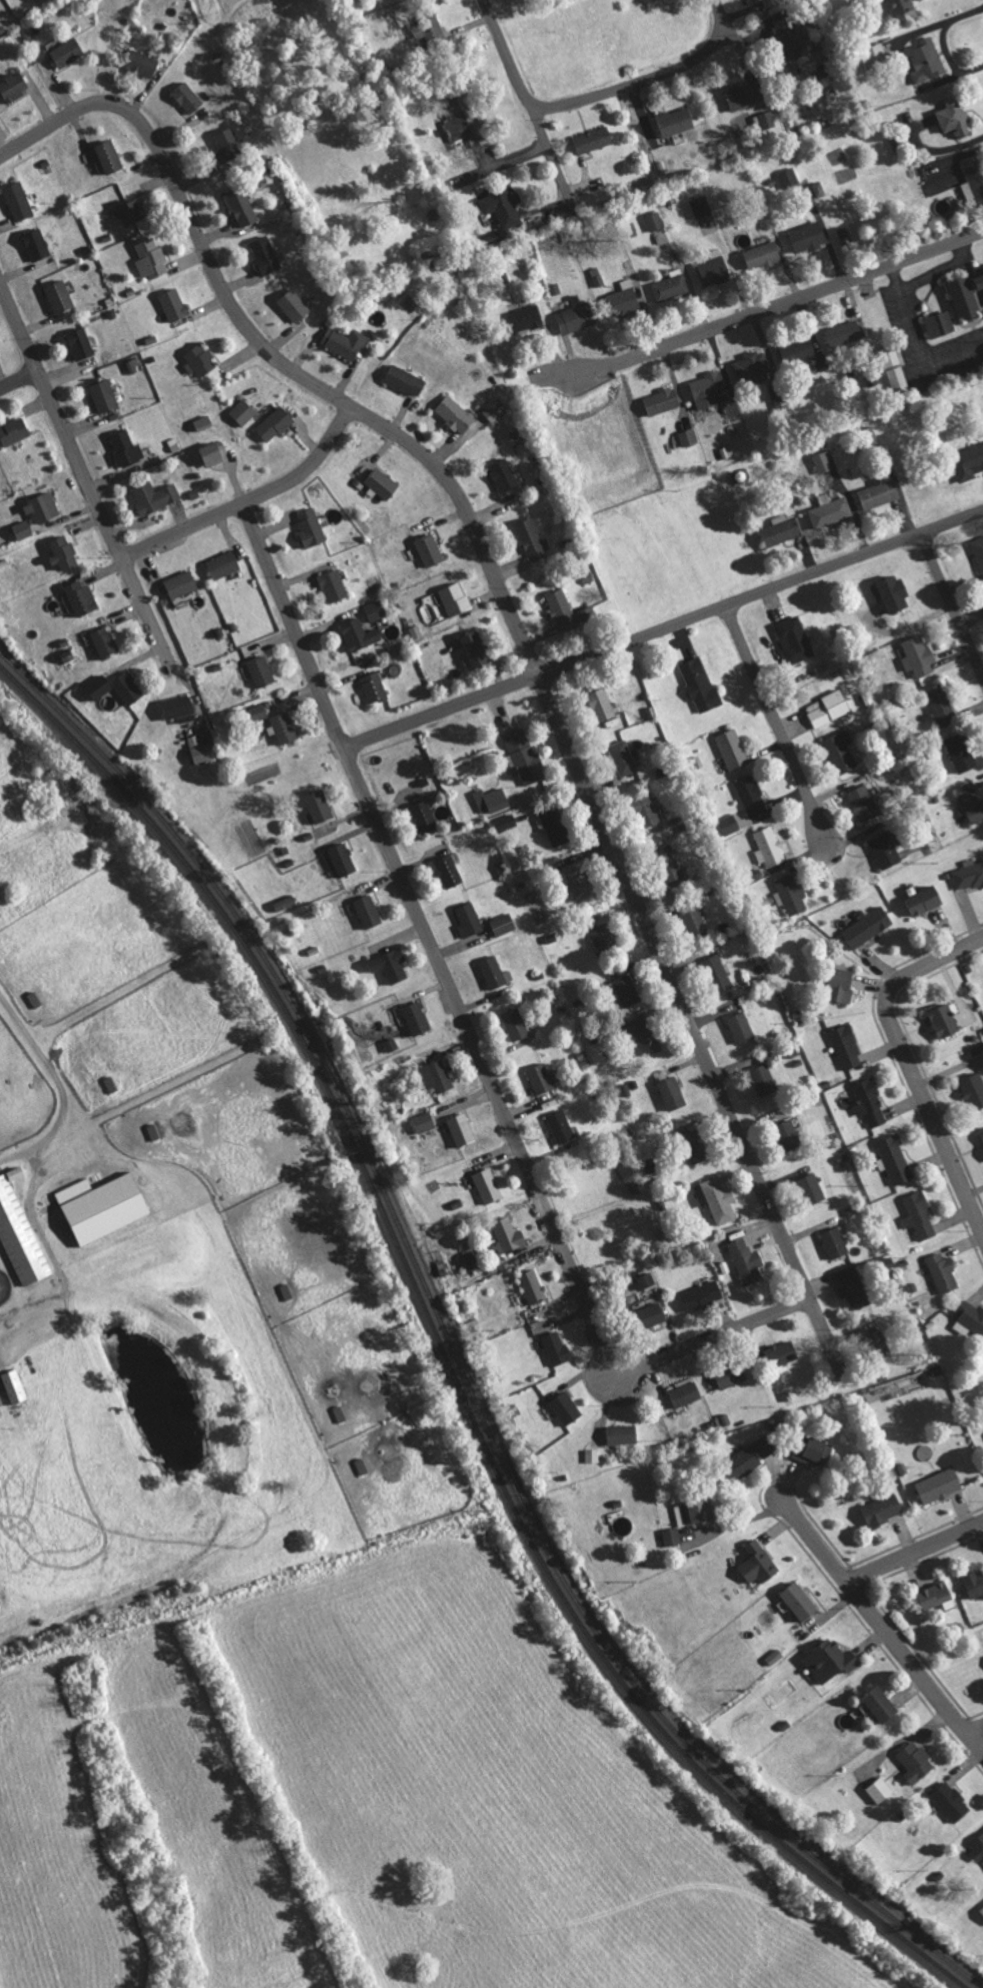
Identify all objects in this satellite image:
building: (903, 9)
building: (429, 29)
building: (788, 35)
road: (739, 43)
building: (68, 52)
building: (877, 56)
building: (927, 60)
building: (143, 62)
building: (14, 86)
building: (746, 95)
building: (188, 97)
road: (592, 97)
building: (955, 118)
building: (767, 119)
building: (675, 121)
building: (594, 139)
building: (229, 144)
road: (524, 149)
building: (110, 156)
building: (789, 177)
building: (976, 178)
building: (819, 189)
building: (19, 201)
building: (502, 205)
building: (243, 206)
building: (701, 206)
building: (132, 212)
building: (655, 221)
building: (845, 235)
building: (809, 237)
building: (37, 244)
building: (266, 255)
building: (763, 255)
building: (151, 259)
building: (716, 270)
road: (941, 270)
building: (981, 278)
building: (670, 287)
building: (60, 296)
building: (966, 298)
building: (625, 300)
road: (782, 301)
building: (175, 304)
building: (294, 305)
building: (577, 316)
building: (528, 318)
building: (940, 324)
building: (845, 333)
road: (915, 339)
building: (347, 341)
building: (81, 344)
building: (805, 354)
road: (273, 357)
building: (201, 360)
building: (753, 367)
building: (899, 379)
road: (20, 380)
building: (406, 380)
building: (710, 390)
building: (105, 396)
building: (663, 401)
building: (782, 402)
building: (497, 409)
building: (243, 412)
building: (456, 414)
building: (204, 422)
building: (275, 423)
building: (14, 430)
building: (689, 437)
building: (126, 448)
building: (726, 451)
building: (214, 454)
building: (823, 462)
building: (968, 462)
road: (84, 473)
building: (505, 474)
building: (383, 484)
building: (880, 494)
building: (155, 497)
road: (248, 499)
building: (43, 507)
building: (830, 511)
building: (311, 527)
building: (23, 529)
building: (782, 530)
building: (532, 540)
building: (978, 549)
building: (430, 550)
building: (64, 552)
building: (224, 565)
building: (182, 584)
building: (334, 586)
building: (896, 593)
building: (82, 598)
building: (455, 599)
road: (951, 607)
building: (377, 610)
building: (571, 613)
road: (295, 625)
road: (664, 629)
building: (360, 634)
building: (795, 639)
building: (105, 642)
building: (476, 649)
building: (919, 656)
building: (262, 671)
building: (701, 684)
building: (100, 686)
building: (129, 687)
building: (374, 687)
building: (604, 704)
building: (942, 705)
building: (180, 708)
building: (828, 709)
building: (258, 712)
road: (774, 725)
building: (285, 728)
building: (204, 748)
building: (732, 750)
building: (842, 751)
building: (962, 752)
building: (525, 756)
building: (623, 758)
building: (751, 797)
building: (492, 800)
building: (972, 802)
building: (864, 803)
building: (320, 806)
building: (648, 809)
building: (425, 817)
building: (506, 823)
building: (730, 824)
building: (554, 827)
building: (768, 847)
building: (886, 851)
building: (343, 859)
building: (671, 863)
building: (448, 871)
building: (970, 875)
building: (579, 880)
building: (792, 894)
building: (926, 899)
building: (286, 903)
building: (368, 912)
building: (469, 920)
building: (698, 923)
building: (503, 924)
building: (869, 925)
building: (604, 937)
building: (391, 965)
building: (493, 972)
building: (717, 972)
road: (901, 977)
building: (844, 984)
building: (627, 990)
building: (417, 1018)
building: (946, 1020)
building: (516, 1023)
road: (687, 1025)
building: (741, 1026)
building: (644, 1035)
building: (392, 1044)
building: (847, 1045)
road: (481, 1065)
building: (438, 1075)
building: (541, 1077)
road: (58, 1079)
building: (765, 1079)
building: (975, 1089)
building: (673, 1092)
building: (870, 1101)
building: (425, 1122)
building: (561, 1126)
building: (462, 1129)
building: (789, 1134)
building: (695, 1146)
road: (943, 1148)
building: (896, 1159)
building: (17, 1172)
building: (488, 1185)
building: (813, 1188)
building: (717, 1198)
building: (109, 1207)
building: (919, 1215)
building: (509, 1234)
building: (20, 1235)
building: (835, 1242)
building: (468, 1259)
building: (748, 1261)
building: (944, 1272)
building: (646, 1280)
building: (533, 1286)
building: (853, 1287)
building: (287, 1291)
building: (703, 1295)
building: (654, 1314)
building: (970, 1318)
road: (711, 1338)
building: (879, 1340)
building: (557, 1347)
railway: (454, 1348)
building: (783, 1352)
railway: (447, 1356)
building: (732, 1375)
building: (15, 1385)
building: (687, 1393)
building: (566, 1408)
building: (623, 1434)
building: (765, 1445)
building: (816, 1451)
building: (593, 1455)
building: (745, 1461)
building: (940, 1485)
building: (884, 1509)
building: (695, 1512)
building: (672, 1536)
road: (915, 1548)
building: (759, 1563)
building: (975, 1584)
building: (801, 1601)
road: (879, 1628)
building: (831, 1660)
building: (883, 1704)
road: (974, 1732)
building: (916, 1762)
building: (951, 1801)
building: (977, 1848)
building: (982, 1911)

